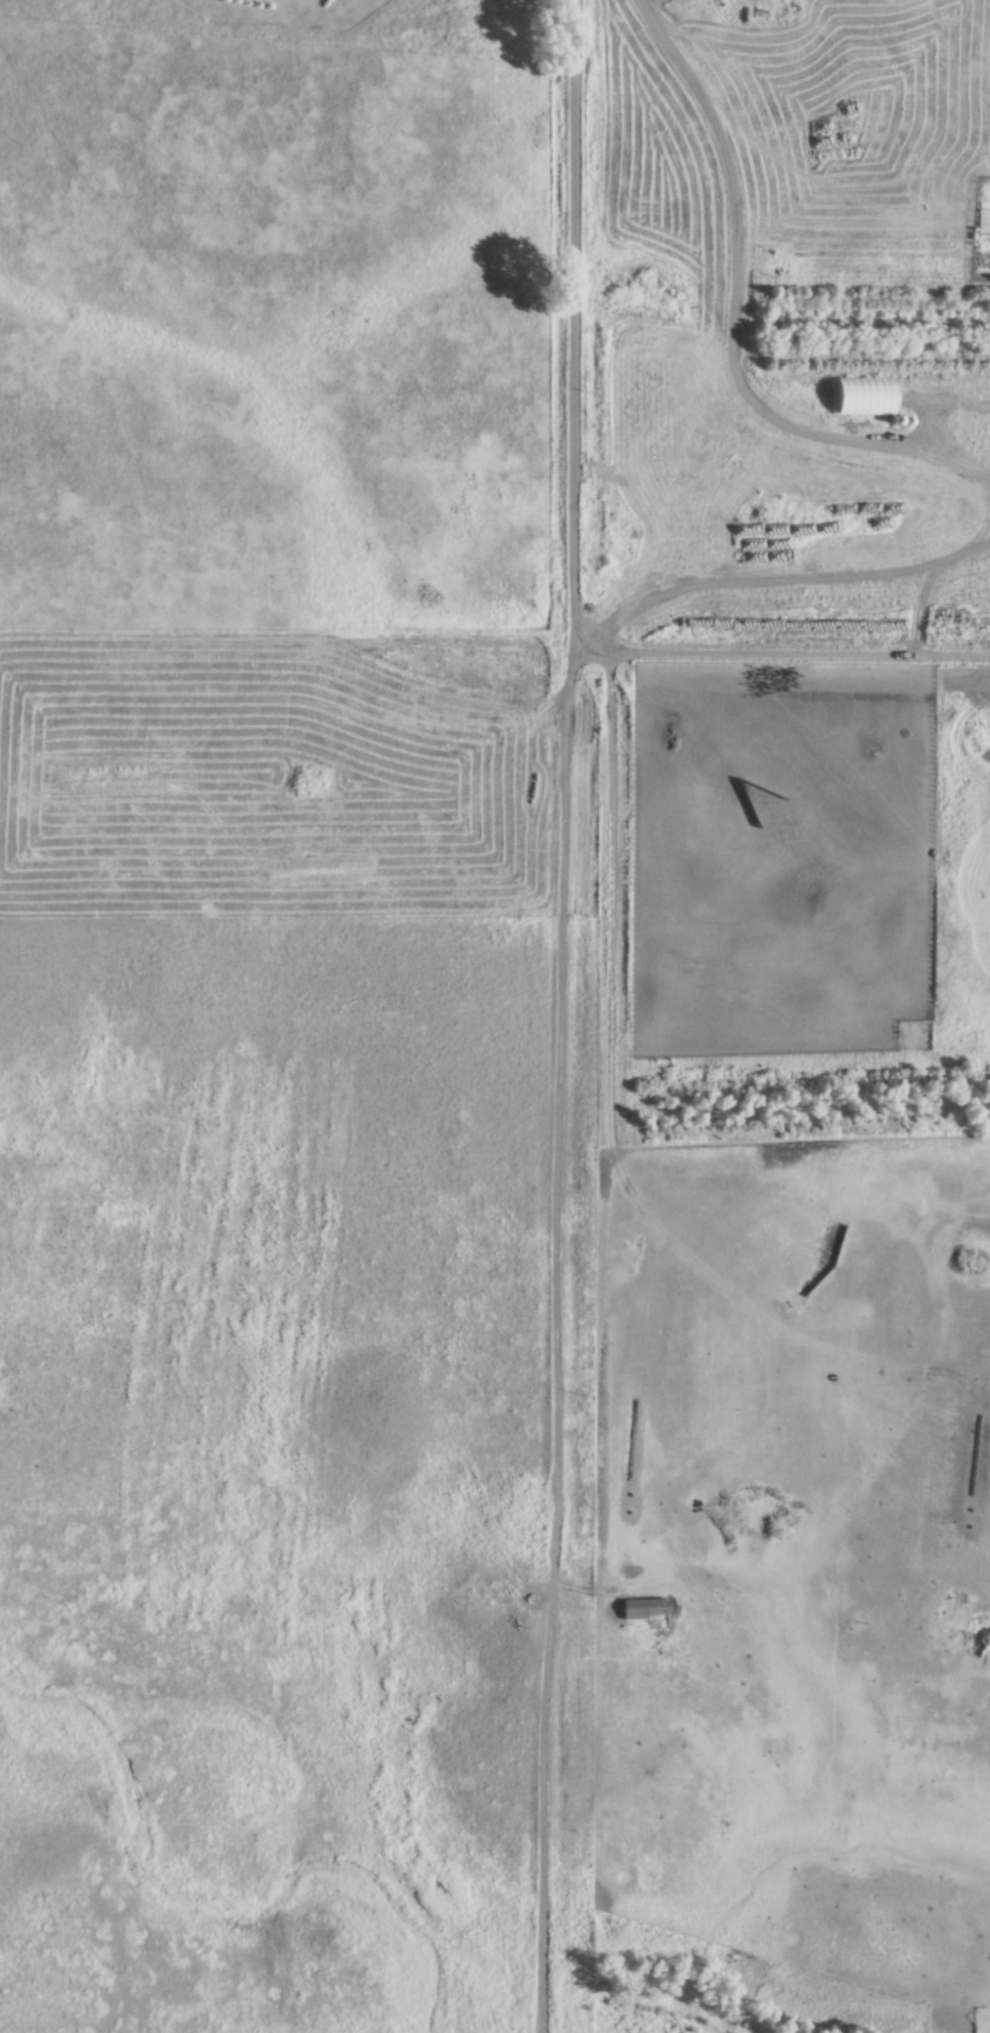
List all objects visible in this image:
building: (989, 0)
building: (862, 397)
road: (780, 563)
road: (562, 1016)
building: (642, 1609)

